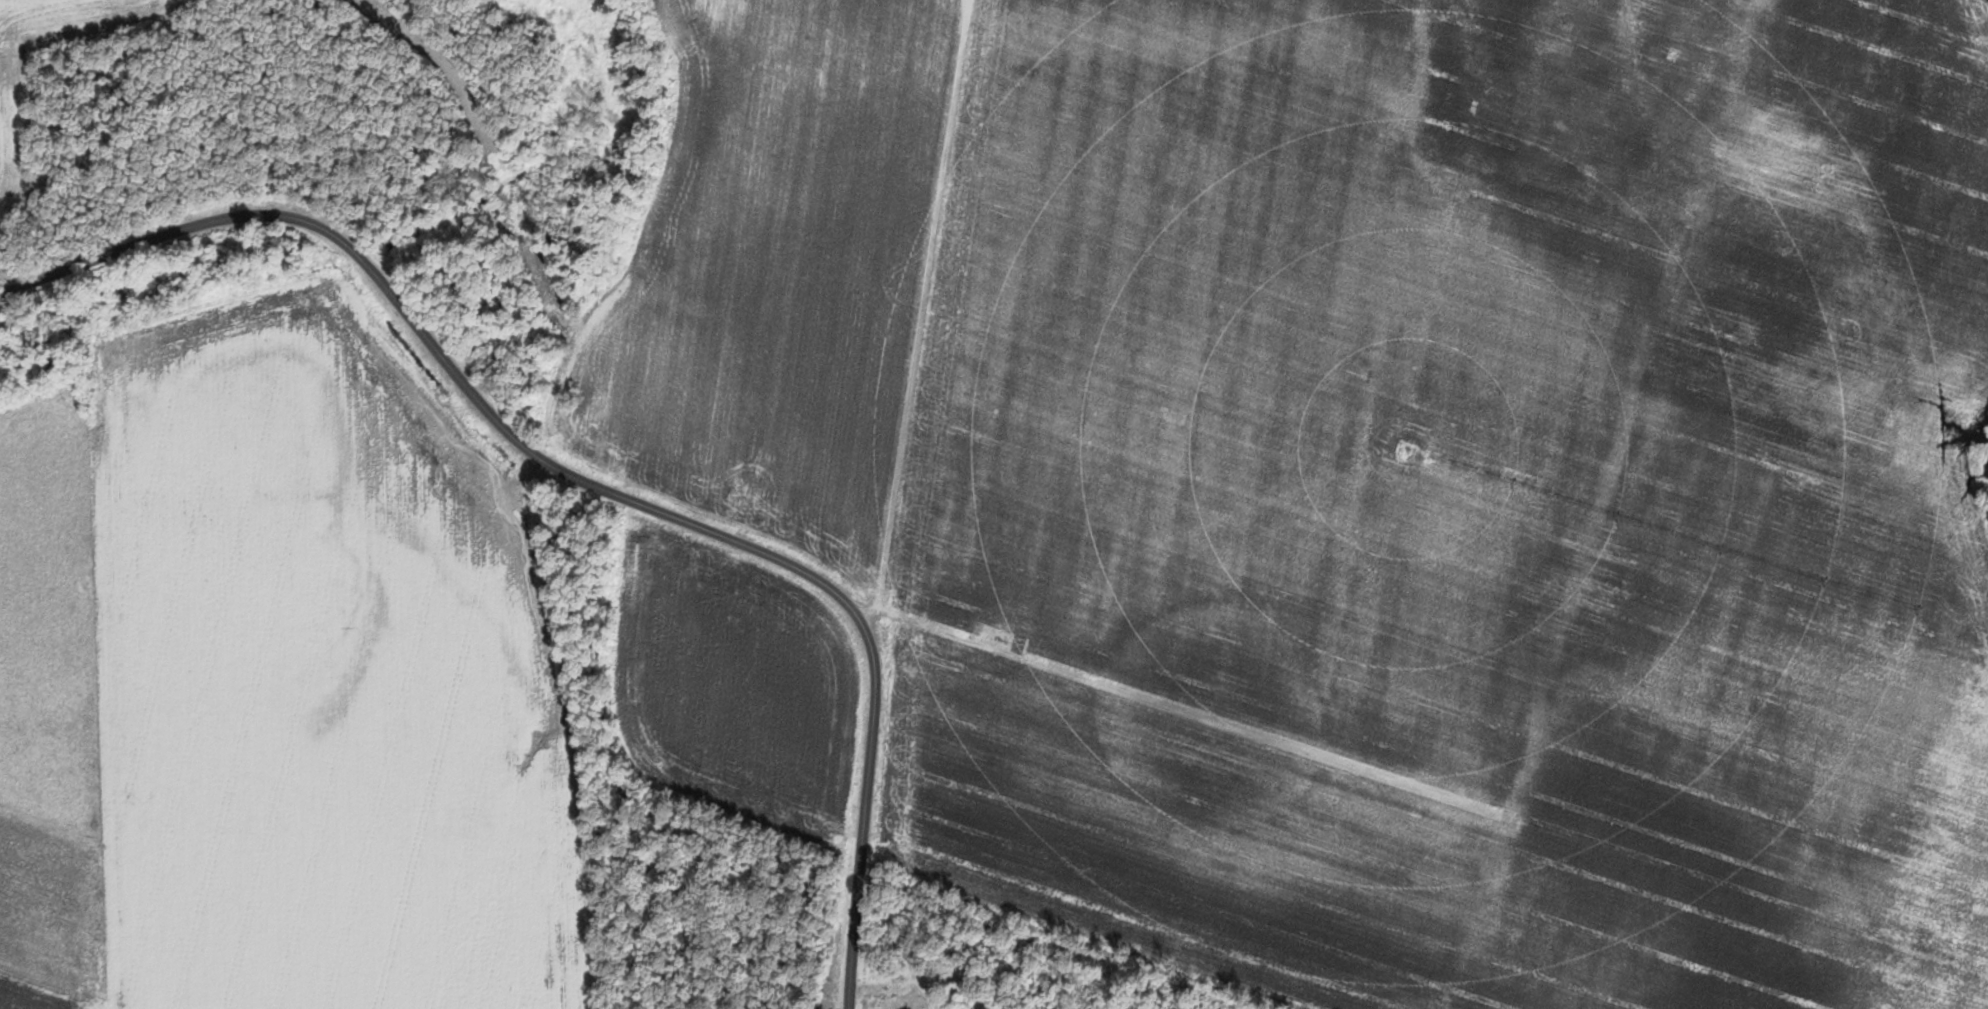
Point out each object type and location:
crop: (1851, 255)
crop: (1141, 354)
road: (585, 479)
crop: (1752, 755)
building: (956, 990)
building: (913, 1000)

